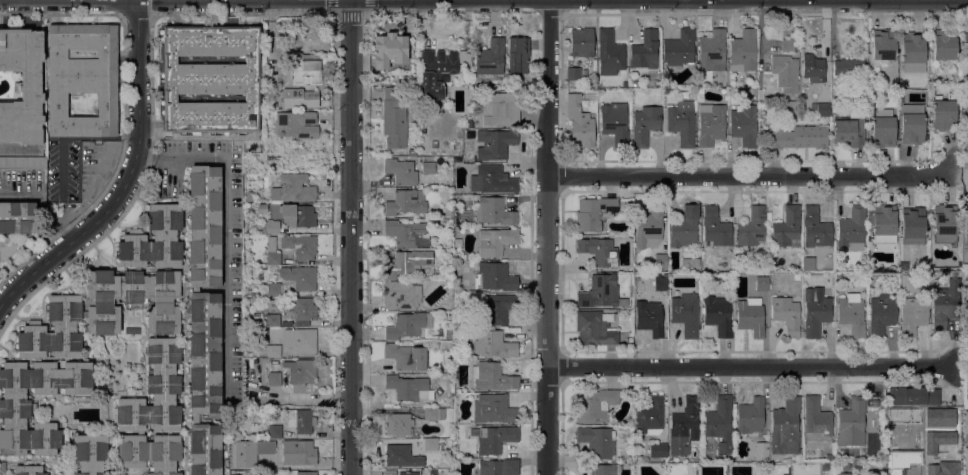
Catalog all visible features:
road: (368, 6)
road: (962, 15)
building: (581, 42)
building: (788, 45)
building: (882, 46)
building: (944, 46)
building: (679, 47)
building: (912, 47)
building: (389, 49)
building: (644, 50)
building: (712, 50)
building: (743, 51)
building: (609, 52)
building: (518, 54)
building: (490, 57)
building: (813, 68)
building: (849, 68)
building: (439, 70)
building: (306, 71)
building: (575, 72)
building: (784, 73)
building: (650, 74)
building: (966, 75)
building: (83, 77)
building: (211, 78)
building: (633, 83)
building: (624, 84)
building: (22, 86)
building: (760, 94)
building: (302, 98)
building: (789, 106)
building: (501, 109)
building: (823, 109)
building: (943, 115)
building: (394, 118)
building: (580, 119)
building: (614, 120)
building: (682, 122)
building: (911, 123)
building: (295, 124)
building: (710, 124)
building: (644, 125)
building: (743, 125)
building: (882, 128)
building: (850, 129)
building: (797, 137)
building: (494, 143)
road: (19, 148)
building: (411, 152)
building: (23, 162)
building: (428, 167)
building: (162, 169)
building: (400, 171)
road: (749, 175)
road: (959, 179)
building: (492, 180)
road: (131, 183)
building: (296, 186)
building: (249, 196)
building: (406, 202)
building: (262, 208)
building: (494, 211)
building: (592, 212)
building: (297, 215)
building: (17, 217)
building: (883, 223)
building: (944, 223)
building: (912, 224)
building: (270, 226)
building: (650, 226)
building: (684, 227)
building: (715, 227)
building: (752, 227)
building: (787, 227)
building: (815, 228)
building: (852, 228)
road: (227, 230)
building: (408, 233)
road: (352, 237)
road: (546, 237)
building: (494, 241)
road: (368, 243)
building: (299, 245)
building: (599, 251)
building: (273, 258)
building: (660, 260)
building: (690, 262)
building: (407, 263)
building: (263, 267)
building: (272, 269)
building: (299, 277)
building: (493, 277)
building: (75, 282)
building: (908, 282)
building: (660, 283)
building: (762, 283)
building: (273, 289)
building: (601, 292)
building: (401, 295)
building: (280, 303)
building: (945, 303)
building: (271, 304)
building: (632, 306)
building: (261, 308)
building: (498, 308)
building: (302, 309)
building: (815, 311)
building: (851, 313)
building: (685, 314)
building: (881, 314)
building: (718, 315)
building: (786, 315)
building: (912, 315)
building: (204, 317)
building: (649, 317)
building: (750, 317)
building: (273, 320)
building: (255, 323)
building: (408, 325)
building: (594, 329)
building: (132, 331)
building: (300, 339)
building: (49, 341)
building: (494, 344)
building: (273, 351)
building: (406, 357)
building: (257, 367)
road: (753, 367)
building: (273, 371)
building: (300, 371)
building: (493, 377)
building: (409, 388)
building: (438, 391)
building: (916, 396)
building: (48, 402)
building: (594, 405)
building: (494, 409)
building: (261, 412)
building: (433, 413)
building: (750, 415)
building: (649, 416)
building: (938, 417)
building: (816, 419)
building: (300, 420)
building: (965, 421)
building: (720, 422)
building: (851, 422)
building: (398, 424)
building: (684, 426)
building: (785, 427)
building: (274, 431)
building: (495, 439)
building: (937, 439)
road: (967, 439)
building: (596, 441)
building: (430, 444)
building: (658, 450)
building: (300, 451)
building: (761, 452)
building: (90, 454)
building: (243, 454)
building: (401, 455)
building: (965, 457)
building: (275, 462)
building: (2, 467)
building: (492, 467)
building: (908, 469)
building: (941, 469)
building: (28, 470)
building: (603, 470)
building: (301, 472)
building: (432, 472)
building: (407, 473)
building: (842, 474)

